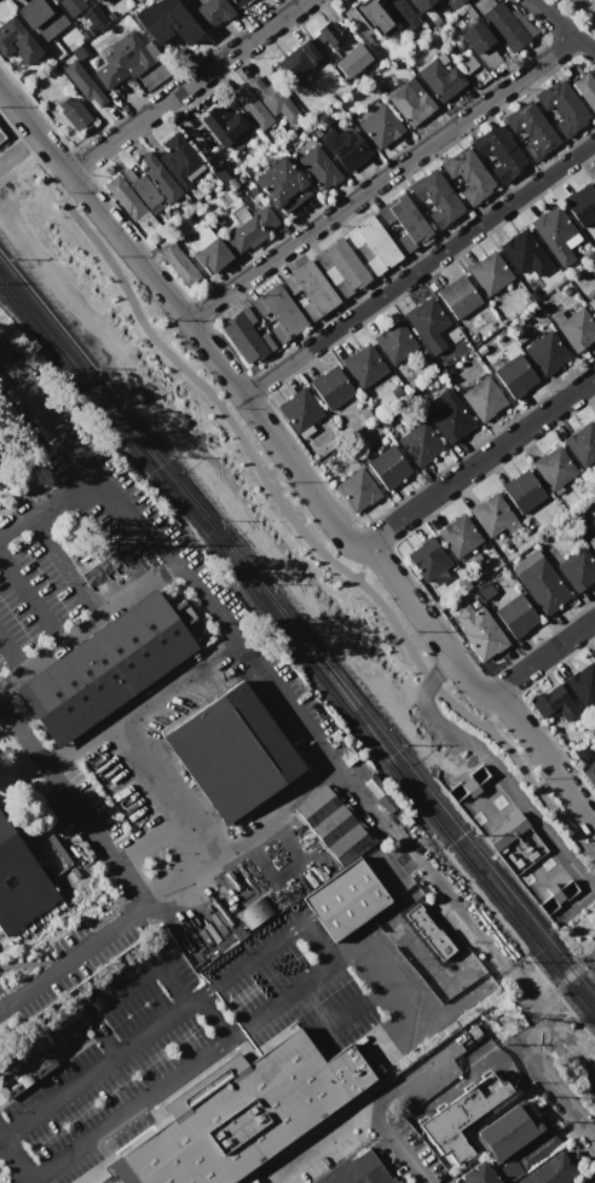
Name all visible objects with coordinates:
building: (94, 0)
building: (236, 1)
building: (451, 2)
building: (71, 5)
building: (420, 5)
building: (131, 11)
building: (210, 12)
building: (400, 13)
building: (93, 15)
building: (163, 16)
building: (40, 17)
building: (368, 18)
road: (564, 24)
building: (504, 27)
building: (327, 31)
building: (16, 40)
building: (476, 40)
building: (82, 51)
building: (121, 59)
building: (294, 59)
building: (351, 59)
building: (467, 64)
building: (152, 75)
building: (439, 79)
building: (81, 82)
road: (185, 86)
building: (587, 87)
building: (271, 97)
building: (409, 102)
building: (252, 105)
building: (561, 106)
building: (73, 114)
building: (224, 120)
building: (379, 126)
building: (530, 129)
building: (1, 135)
building: (343, 144)
building: (497, 151)
road: (34, 156)
building: (178, 157)
building: (317, 166)
building: (221, 168)
building: (466, 174)
building: (156, 175)
building: (593, 177)
road: (382, 178)
building: (279, 183)
building: (144, 189)
building: (122, 196)
building: (434, 196)
building: (580, 203)
building: (403, 220)
building: (249, 227)
building: (559, 236)
building: (371, 243)
building: (209, 254)
building: (525, 254)
building: (177, 261)
building: (340, 265)
road: (418, 269)
building: (489, 272)
building: (308, 288)
building: (457, 295)
building: (591, 302)
building: (276, 311)
building: (424, 318)
building: (576, 328)
building: (242, 337)
building: (393, 340)
building: (547, 352)
building: (363, 364)
building: (514, 376)
building: (330, 386)
road: (236, 387)
railway: (105, 389)
building: (483, 398)
railway: (105, 400)
road: (221, 400)
building: (297, 409)
building: (447, 415)
building: (594, 419)
road: (53, 425)
road: (235, 432)
building: (418, 443)
building: (582, 443)
road: (476, 462)
road: (291, 466)
building: (387, 466)
building: (553, 467)
building: (0, 471)
building: (356, 489)
building: (522, 490)
road: (51, 508)
building: (491, 514)
building: (457, 535)
building: (591, 542)
railway: (237, 554)
railway: (223, 558)
building: (426, 559)
road: (67, 564)
road: (362, 565)
building: (577, 569)
building: (539, 582)
building: (484, 590)
road: (30, 599)
building: (515, 614)
road: (85, 623)
building: (476, 629)
building: (594, 654)
road: (11, 656)
building: (594, 656)
road: (542, 657)
building: (103, 668)
road: (428, 681)
building: (582, 683)
road: (272, 686)
building: (553, 706)
railway: (354, 710)
road: (489, 712)
road: (125, 731)
road: (80, 741)
building: (231, 752)
road: (497, 768)
road: (521, 769)
building: (590, 774)
building: (466, 783)
railway: (428, 791)
road: (69, 806)
building: (331, 826)
building: (506, 831)
road: (145, 837)
road: (591, 855)
road: (418, 858)
road: (175, 881)
building: (19, 883)
building: (558, 898)
building: (345, 900)
building: (253, 914)
railway: (520, 927)
building: (427, 933)
road: (314, 941)
road: (70, 958)
road: (385, 983)
road: (120, 987)
road: (549, 1000)
road: (210, 1017)
power tower: (499, 1018)
road: (69, 1025)
building: (23, 1067)
parking lot: (154, 1068)
road: (566, 1101)
building: (239, 1114)
building: (460, 1116)
road: (350, 1120)
building: (516, 1125)
road: (399, 1144)
building: (536, 1149)
road: (15, 1161)
building: (360, 1167)
building: (550, 1171)
building: (476, 1175)

